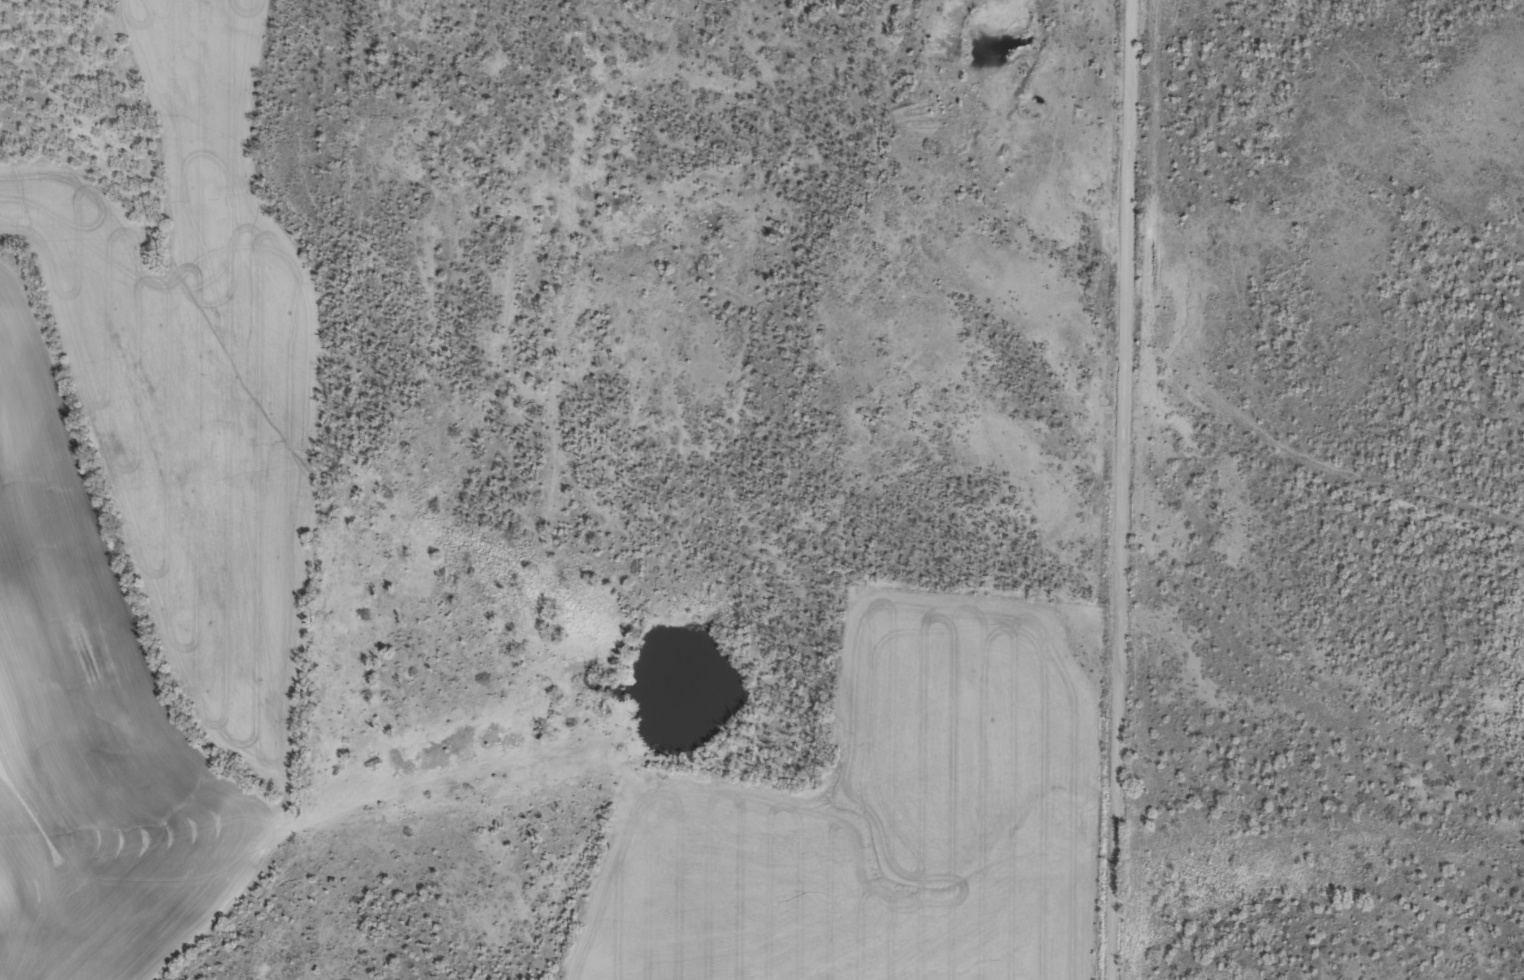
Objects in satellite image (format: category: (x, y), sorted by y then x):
road: (1122, 490)

